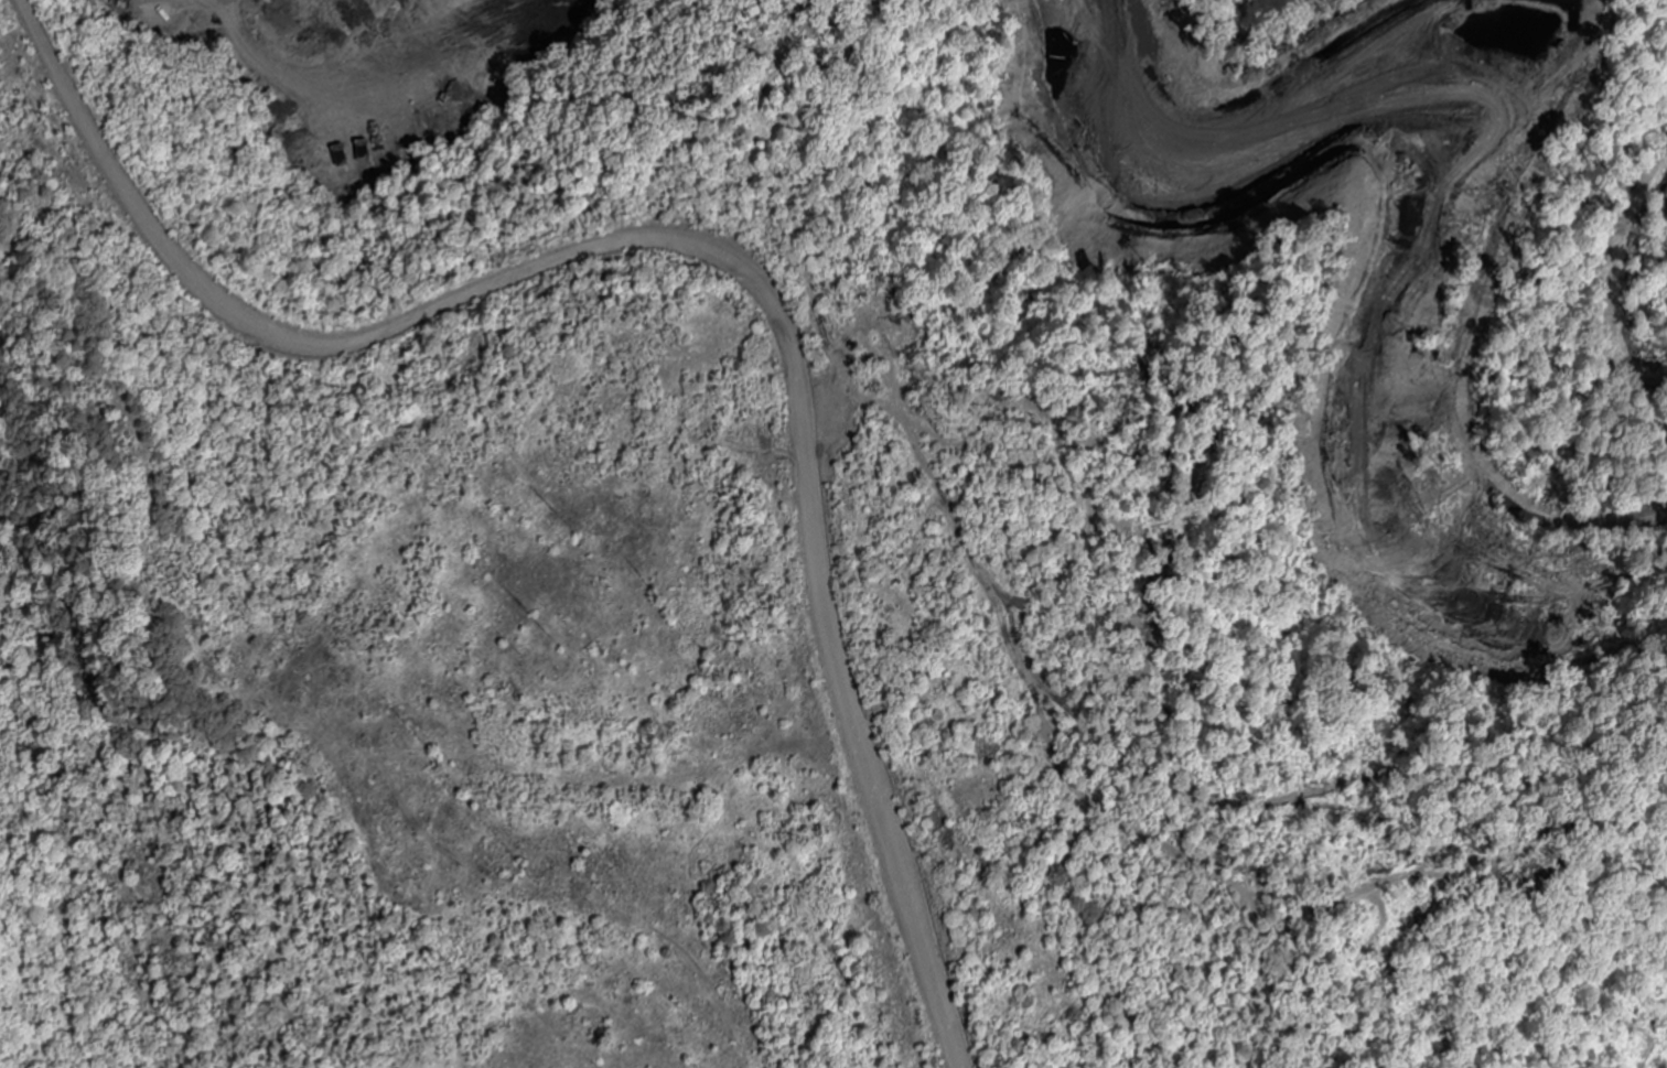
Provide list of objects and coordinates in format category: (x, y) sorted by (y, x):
quarry: (504, 28)

